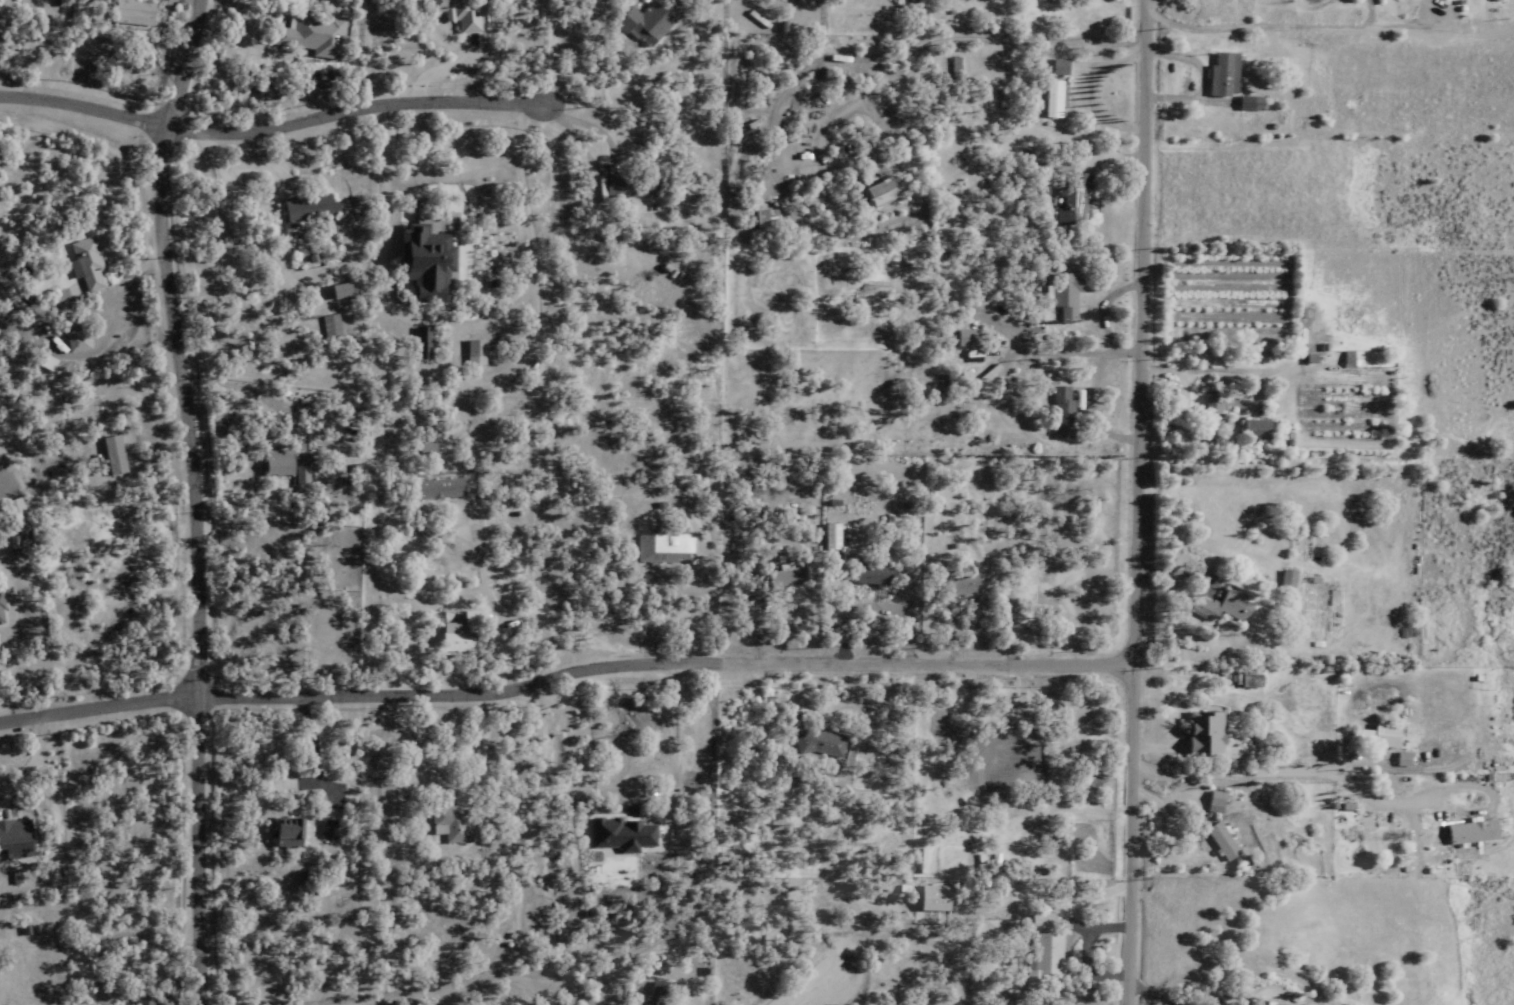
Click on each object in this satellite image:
building: (913, 0)
building: (1444, 0)
building: (127, 11)
building: (454, 12)
building: (643, 23)
building: (309, 32)
building: (1059, 67)
building: (1222, 73)
building: (1053, 99)
road: (82, 100)
road: (353, 106)
building: (630, 184)
building: (873, 191)
building: (1073, 199)
building: (306, 207)
building: (421, 261)
building: (80, 262)
building: (1064, 294)
building: (329, 326)
building: (964, 338)
building: (72, 341)
building: (420, 342)
building: (473, 352)
building: (1062, 413)
building: (1214, 419)
building: (1258, 430)
building: (108, 454)
building: (272, 462)
building: (299, 470)
building: (506, 481)
building: (436, 487)
road: (192, 499)
road: (1133, 502)
building: (828, 535)
building: (657, 548)
building: (870, 574)
building: (781, 577)
building: (1288, 578)
building: (959, 586)
building: (1222, 606)
building: (0, 621)
building: (458, 631)
road: (562, 667)
building: (1204, 734)
building: (1377, 738)
building: (818, 743)
building: (1403, 760)
road: (1247, 766)
building: (1021, 775)
building: (448, 822)
building: (327, 829)
building: (283, 832)
building: (1471, 832)
building: (622, 834)
building: (13, 838)
building: (1221, 841)
building: (931, 898)
building: (1040, 960)
road: (437, 986)
building: (138, 1000)
building: (1264, 1004)

